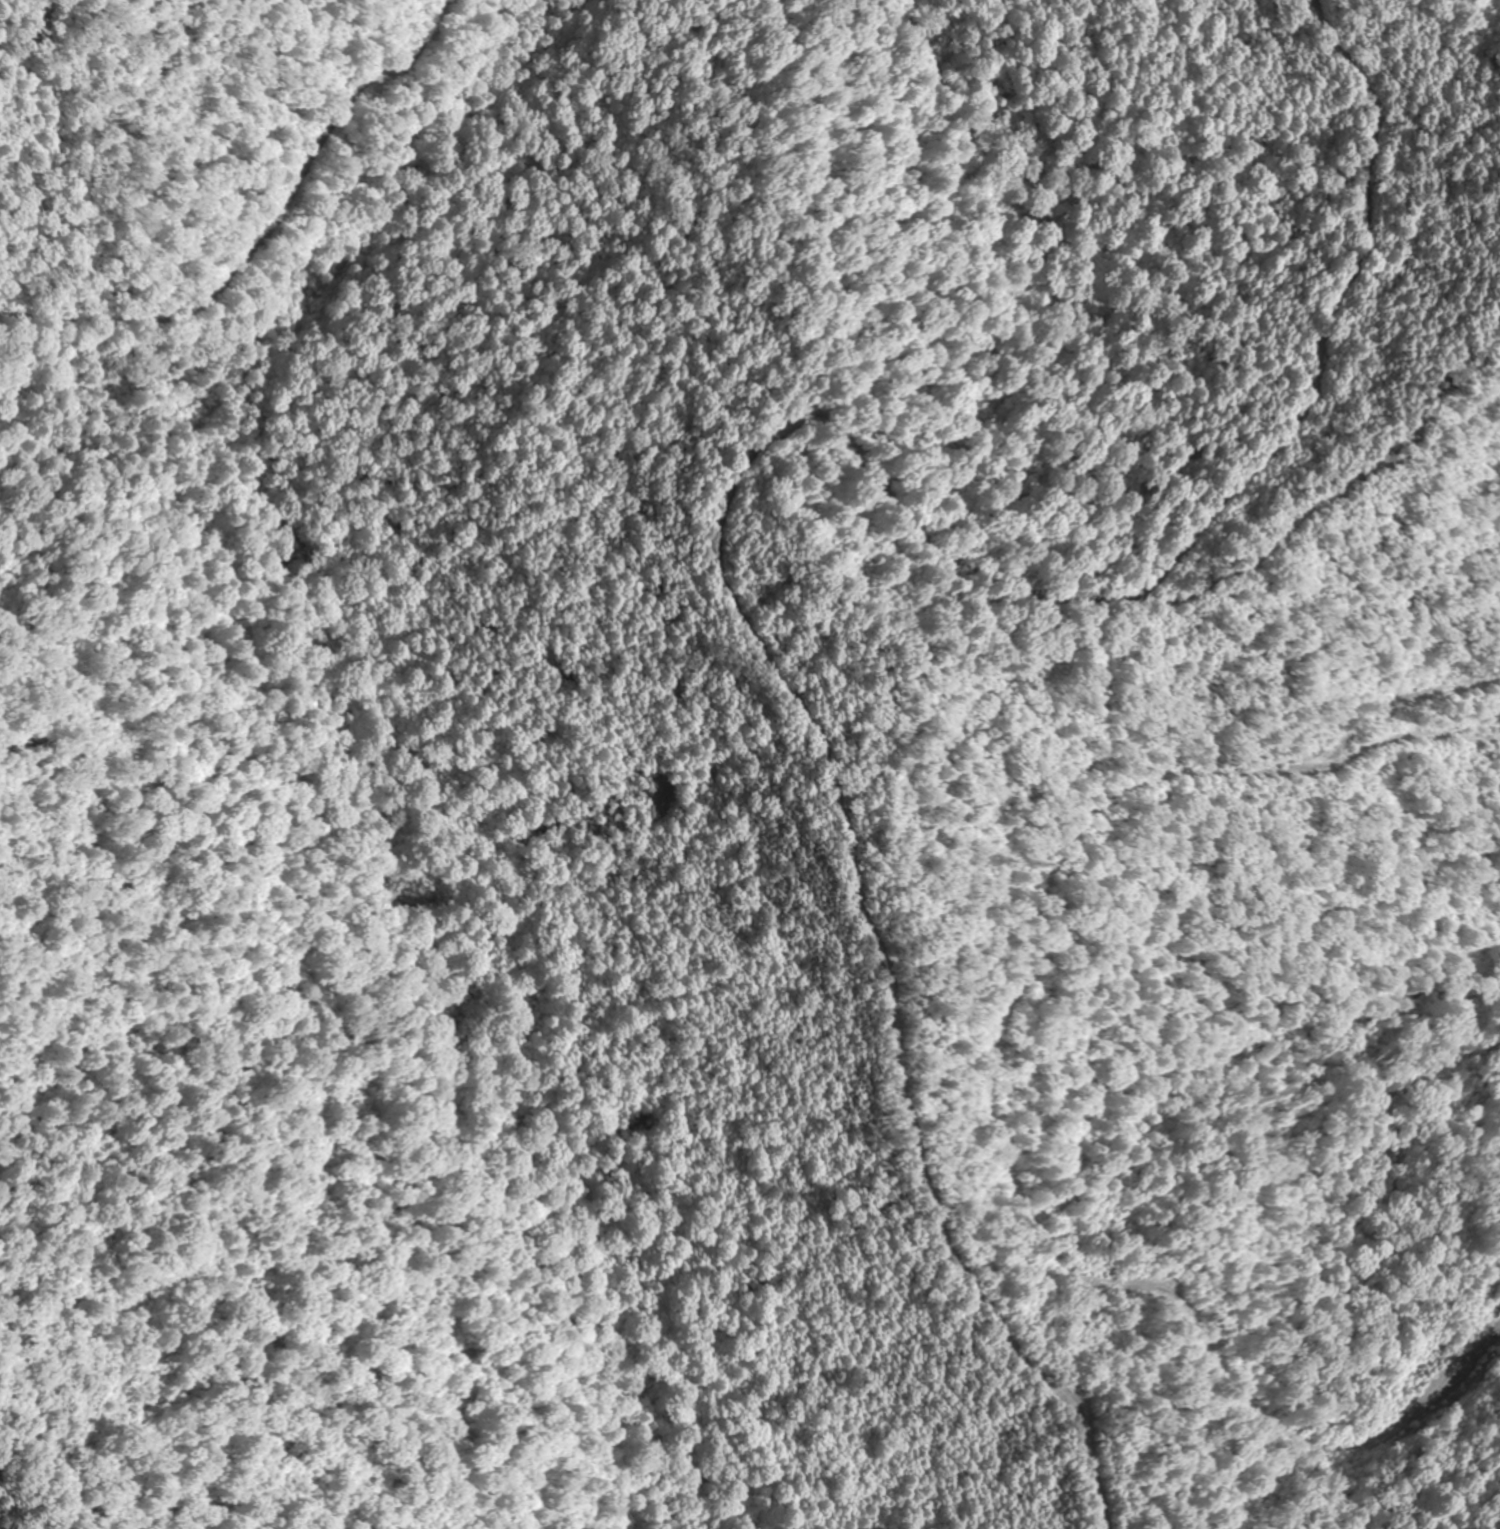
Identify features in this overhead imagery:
building: (1469, 377)

